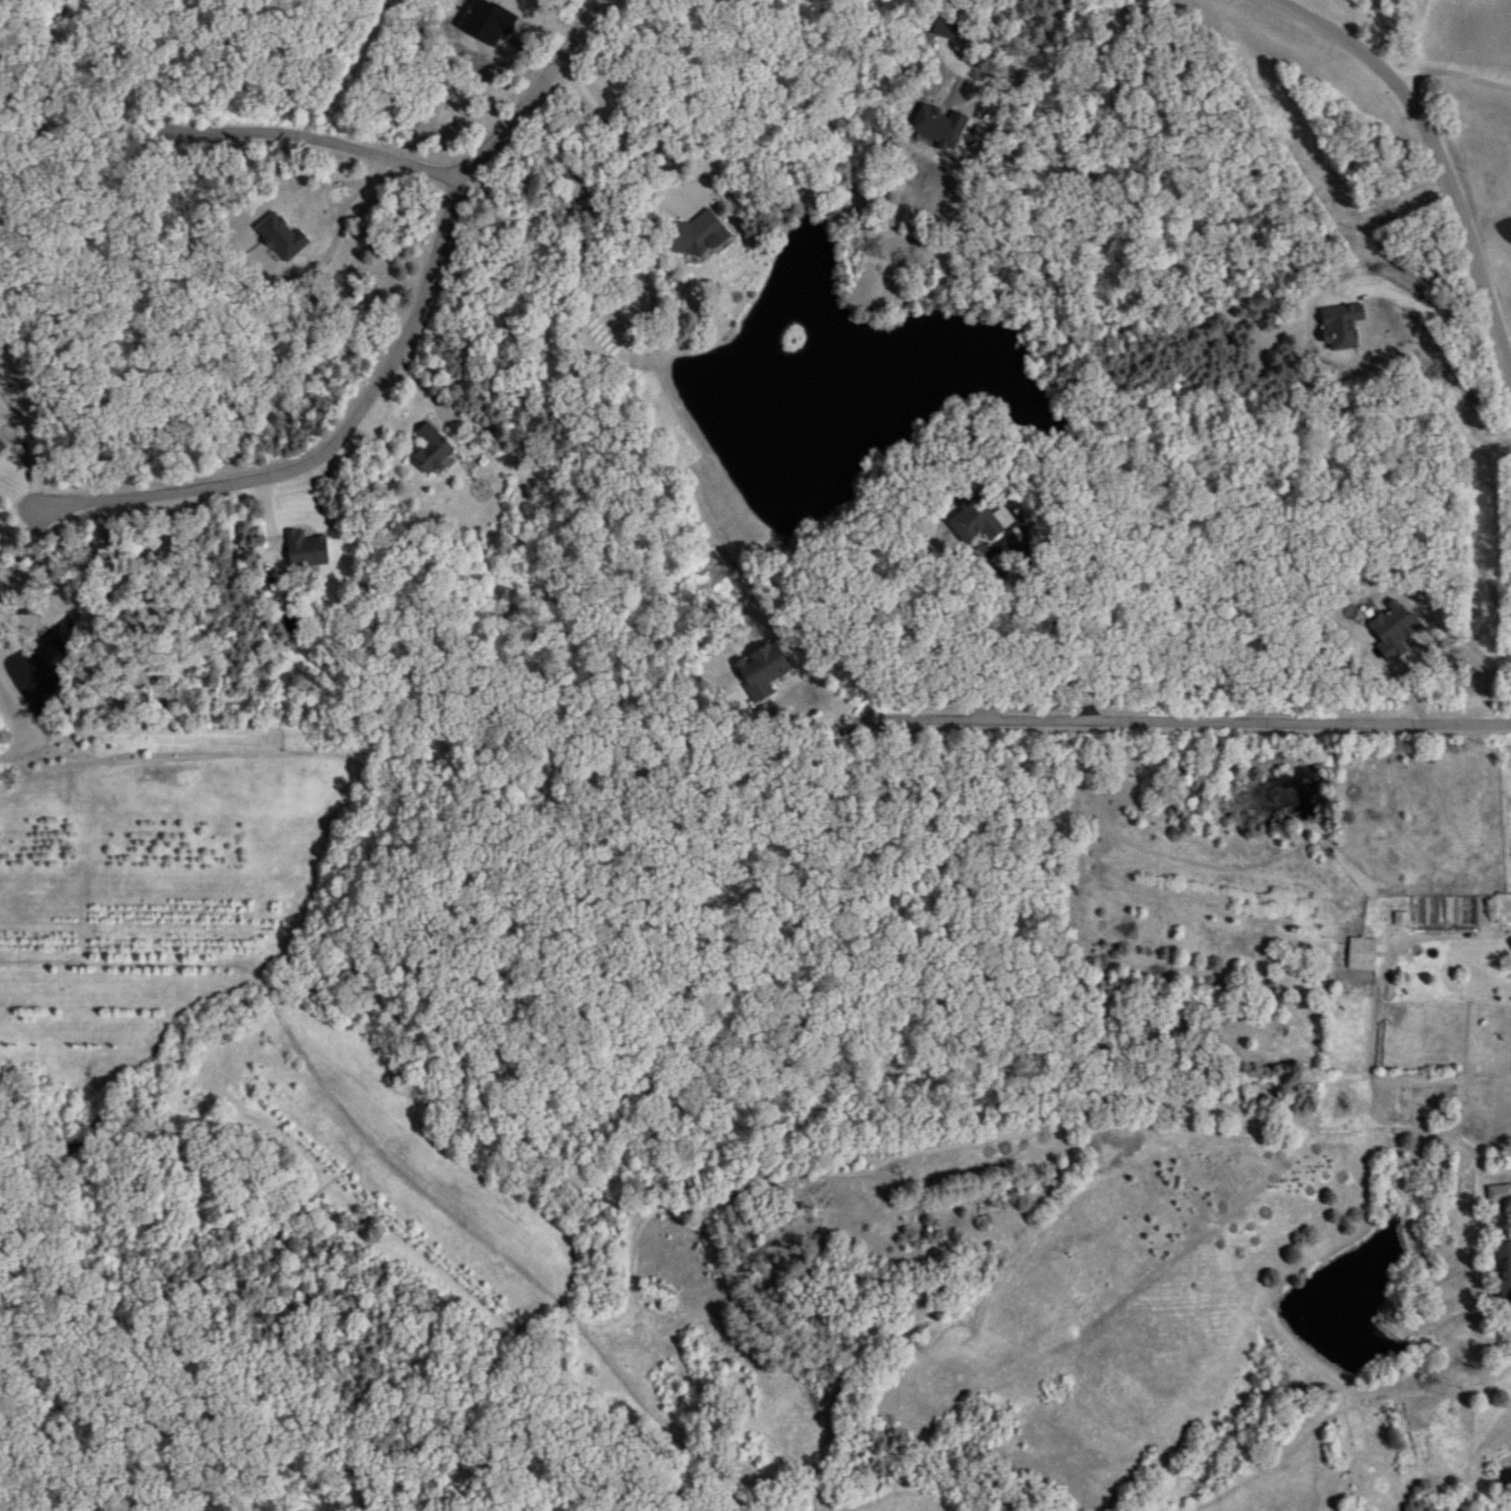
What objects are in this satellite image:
road: (1417, 37)
road: (1027, 66)
road: (1461, 75)
road: (1405, 77)
road: (613, 128)
road: (1438, 146)
road: (418, 170)
building: (279, 237)
building: (694, 238)
building: (1, 446)
building: (429, 448)
road: (332, 449)
building: (306, 548)
road: (1054, 618)
building: (763, 671)
road: (809, 710)
road: (1192, 712)
building: (1503, 908)
road: (1335, 925)
building: (1363, 954)
building: (1498, 1194)
building: (1504, 1273)

